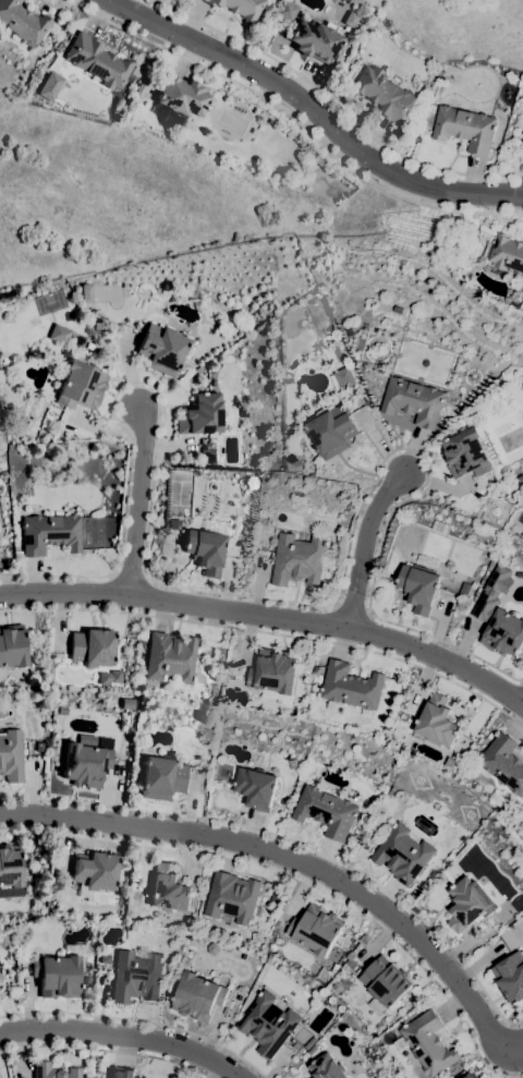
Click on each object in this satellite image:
building: (240, 8)
building: (284, 10)
building: (22, 22)
building: (314, 40)
building: (97, 61)
building: (48, 86)
building: (384, 95)
building: (182, 97)
building: (134, 98)
road: (333, 102)
building: (431, 108)
road: (315, 114)
road: (294, 120)
building: (465, 128)
building: (181, 129)
building: (317, 160)
building: (507, 253)
building: (84, 292)
building: (7, 293)
building: (522, 298)
building: (59, 334)
building: (89, 346)
building: (161, 349)
building: (333, 353)
building: (342, 378)
building: (81, 386)
building: (413, 401)
building: (243, 412)
building: (200, 415)
building: (46, 421)
building: (331, 431)
building: (466, 455)
road: (137, 504)
building: (174, 524)
building: (49, 533)
road: (365, 546)
building: (205, 550)
building: (300, 559)
building: (427, 560)
building: (419, 588)
building: (465, 589)
road: (246, 595)
building: (499, 616)
road: (269, 617)
road: (270, 633)
building: (13, 646)
building: (92, 647)
building: (170, 657)
building: (273, 671)
building: (108, 677)
building: (351, 688)
building: (437, 722)
building: (39, 747)
building: (11, 755)
building: (503, 762)
building: (451, 763)
building: (85, 764)
building: (292, 764)
building: (161, 778)
building: (256, 788)
building: (498, 799)
building: (326, 811)
building: (514, 812)
road: (294, 843)
building: (401, 852)
road: (297, 860)
building: (10, 865)
building: (95, 872)
road: (301, 881)
building: (168, 889)
building: (275, 897)
building: (233, 899)
building: (466, 905)
building: (279, 923)
building: (316, 929)
building: (257, 938)
building: (272, 948)
building: (352, 964)
building: (335, 968)
building: (0, 971)
building: (325, 974)
building: (57, 976)
building: (0, 977)
building: (136, 977)
building: (510, 977)
building: (0, 979)
building: (385, 984)
building: (335, 986)
building: (198, 997)
building: (344, 1002)
road: (138, 1020)
building: (268, 1024)
building: (381, 1025)
building: (389, 1034)
road: (124, 1038)
building: (357, 1038)
building: (311, 1043)
building: (427, 1044)
building: (295, 1046)
building: (313, 1050)
road: (106, 1051)
building: (357, 1064)
building: (327, 1067)
building: (53, 1071)
building: (122, 1074)
building: (382, 1074)
building: (465, 1077)
building: (469, 1077)

